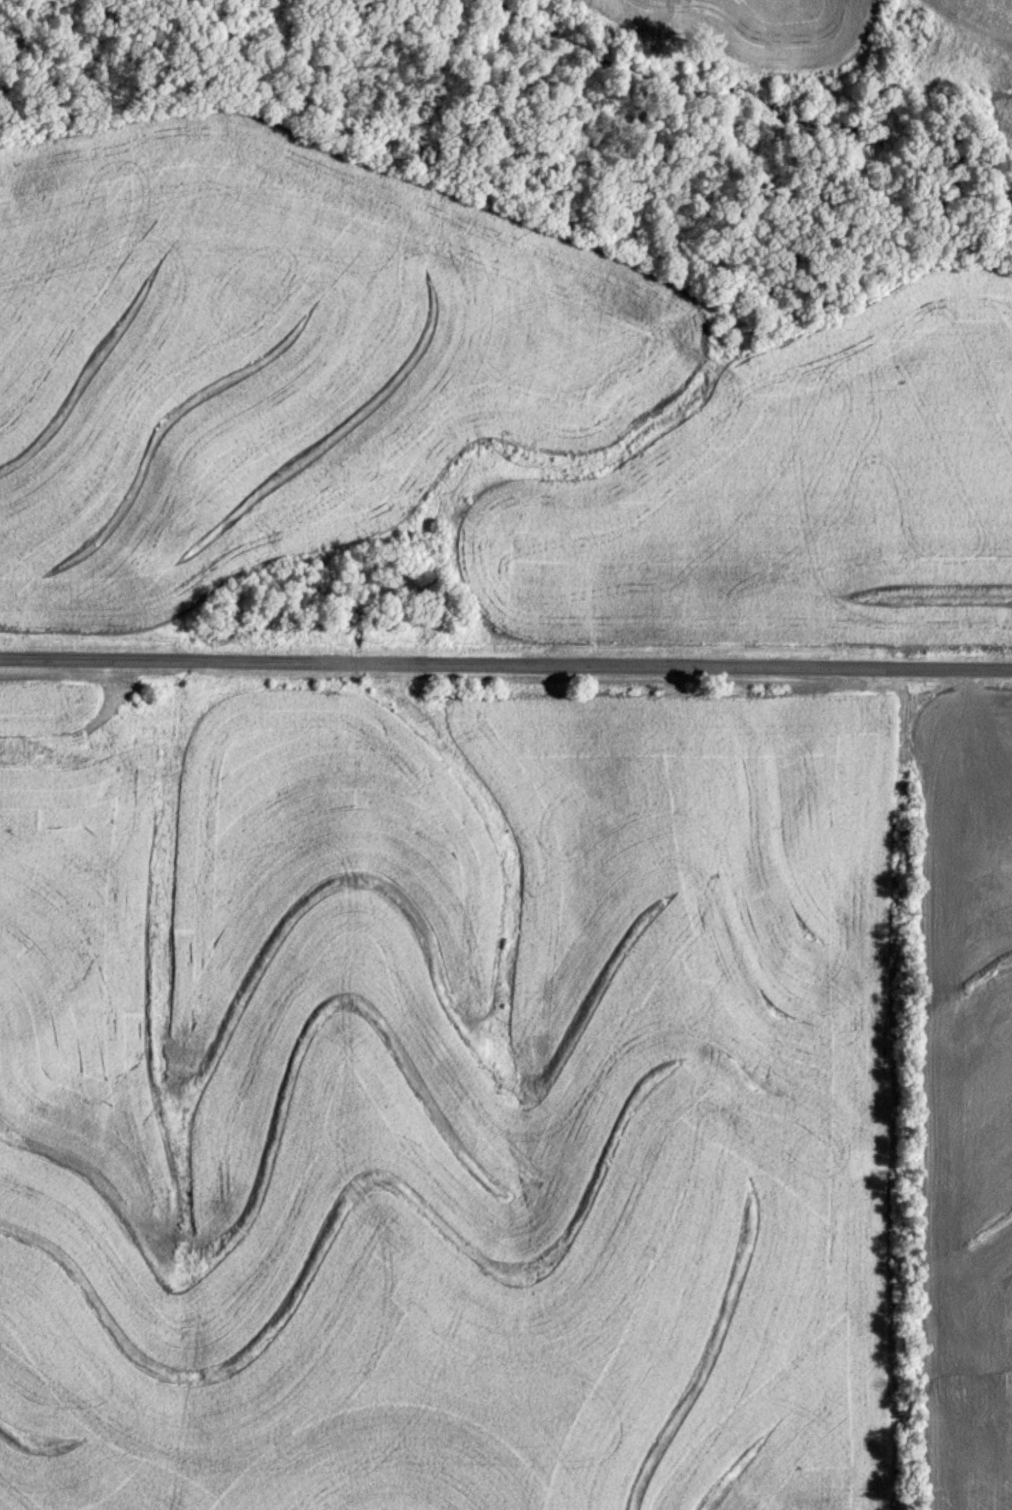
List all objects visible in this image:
road: (506, 673)

